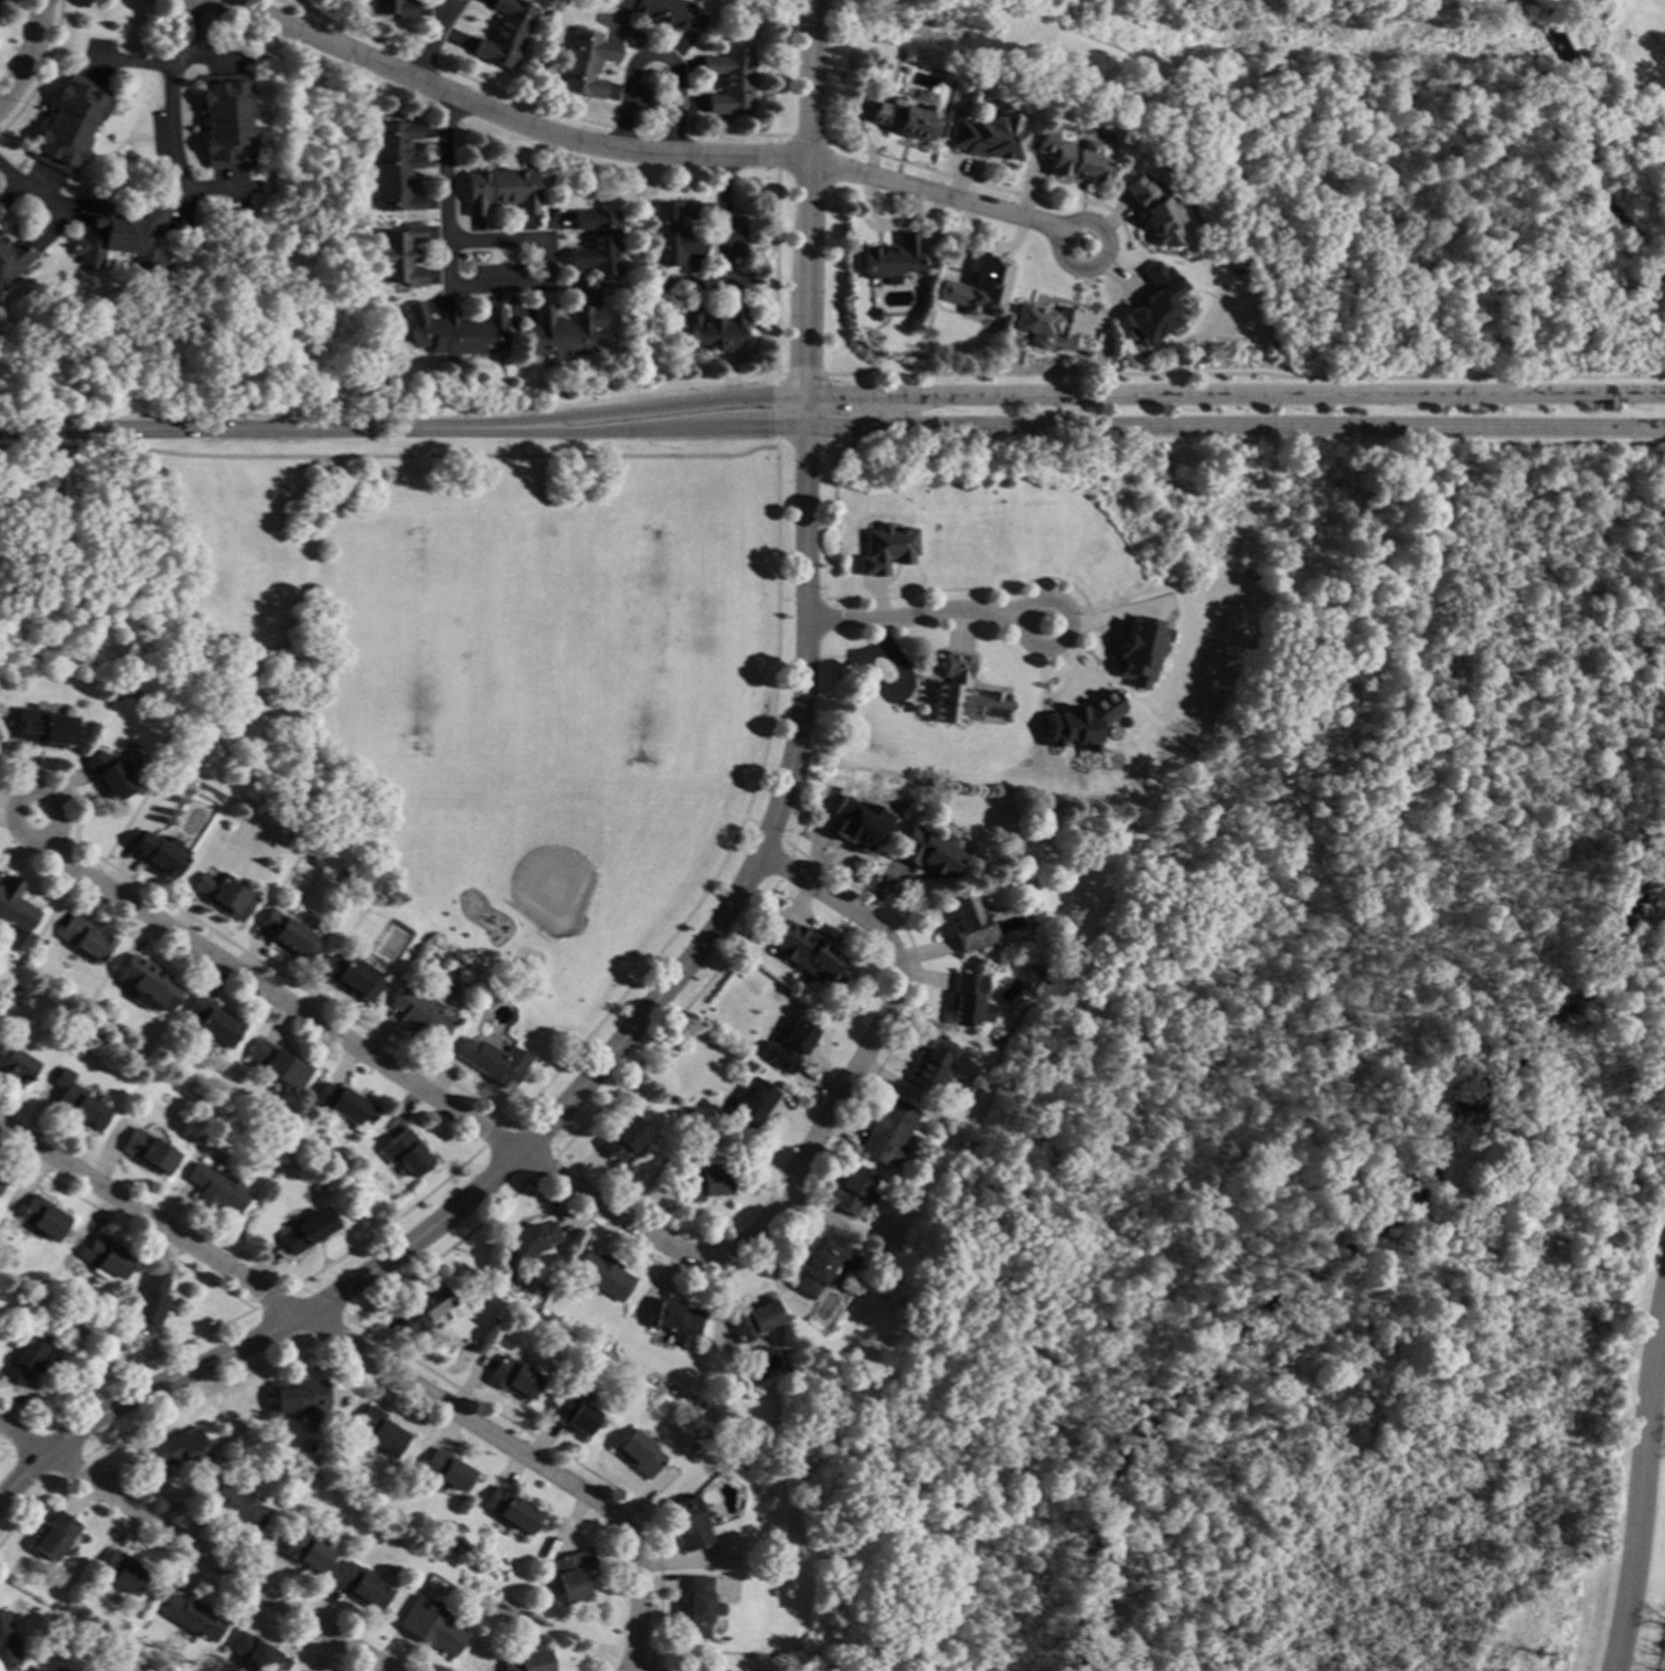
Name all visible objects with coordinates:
building: (393, 7)
park: (788, 8)
building: (663, 12)
road: (444, 17)
building: (505, 32)
river: (1473, 45)
road: (428, 50)
road: (28, 54)
road: (652, 54)
building: (585, 63)
road: (810, 78)
building: (729, 79)
road: (499, 115)
building: (903, 117)
building: (225, 120)
road: (173, 123)
building: (70, 124)
building: (986, 136)
road: (106, 156)
building: (1075, 159)
park: (1384, 162)
building: (395, 166)
road: (441, 167)
road: (40, 181)
building: (500, 190)
road: (31, 191)
road: (936, 194)
building: (0, 210)
building: (1153, 212)
building: (0, 213)
building: (673, 232)
building: (121, 235)
building: (595, 242)
road: (721, 246)
building: (399, 255)
building: (13, 257)
building: (889, 258)
road: (1064, 262)
road: (807, 276)
road: (542, 284)
building: (976, 286)
building: (1151, 306)
building: (875, 313)
building: (1042, 323)
building: (713, 327)
building: (453, 331)
building: (558, 331)
building: (1013, 342)
road: (1235, 395)
road: (775, 411)
road: (672, 412)
road: (1235, 426)
road: (672, 427)
road: (270, 429)
building: (45, 493)
building: (885, 547)
road: (922, 614)
park: (65, 617)
park: (417, 642)
building: (1136, 651)
park: (627, 652)
building: (959, 694)
building: (1078, 722)
building: (42, 728)
building: (107, 774)
road: (139, 797)
road: (55, 808)
building: (857, 826)
building: (924, 848)
building: (158, 853)
park: (542, 855)
building: (313, 861)
building: (222, 895)
building: (13, 906)
building: (968, 923)
road: (39, 928)
building: (287, 935)
building: (82, 938)
building: (409, 961)
building: (815, 961)
building: (349, 977)
building: (147, 982)
road: (276, 997)
building: (967, 1000)
building: (419, 1012)
building: (213, 1022)
building: (786, 1045)
building: (490, 1061)
building: (930, 1062)
building: (14, 1064)
building: (277, 1065)
road: (590, 1069)
building: (76, 1101)
building: (342, 1104)
building: (750, 1104)
building: (886, 1130)
building: (620, 1139)
road: (810, 1140)
building: (148, 1151)
park: (1326, 1151)
building: (403, 1152)
building: (1, 1180)
building: (702, 1183)
building: (215, 1190)
building: (850, 1191)
building: (259, 1203)
building: (42, 1217)
road: (150, 1220)
building: (307, 1231)
building: (524, 1242)
river: (1363, 1254)
building: (105, 1257)
building: (820, 1267)
building: (599, 1274)
building: (148, 1303)
building: (424, 1308)
building: (750, 1319)
building: (675, 1321)
building: (28, 1361)
building: (511, 1377)
building: (299, 1398)
building: (570, 1414)
building: (376, 1431)
road: (21, 1437)
building: (308, 1446)
building: (178, 1450)
building: (636, 1454)
road: (524, 1458)
building: (442, 1470)
road: (1637, 1478)
building: (236, 1504)
building: (510, 1510)
building: (686, 1522)
building: (54, 1535)
building: (482, 1547)
building: (305, 1552)
road: (215, 1561)
building: (121, 1572)
building: (570, 1575)
building: (359, 1585)
building: (695, 1605)
building: (193, 1616)
building: (428, 1626)
building: (6, 1642)
road: (709, 1650)
building: (256, 1653)
building: (526, 1661)
building: (35, 1669)

